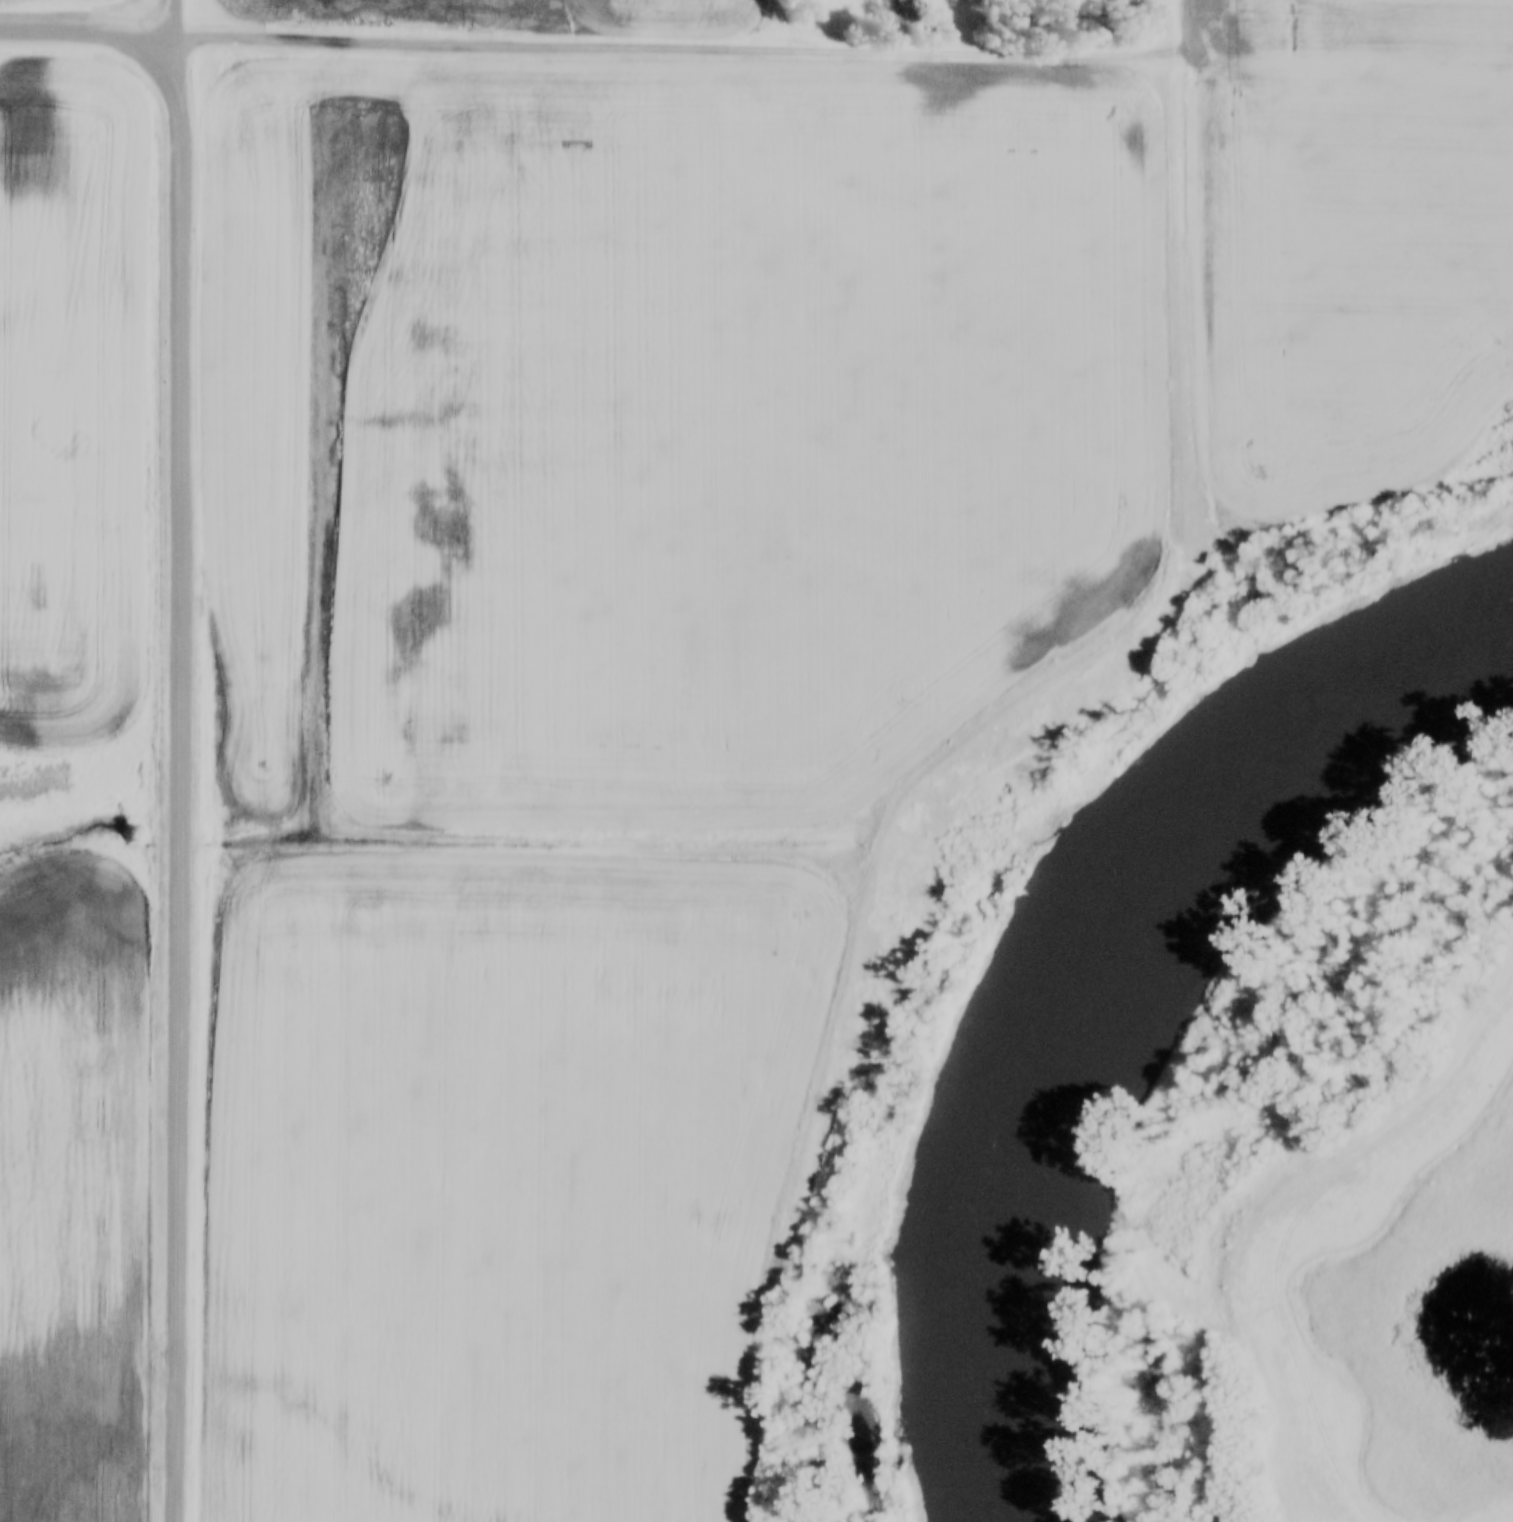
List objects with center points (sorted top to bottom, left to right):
road: (111, 41)
road: (694, 56)
road: (183, 59)
road: (182, 820)
river: (1111, 1003)

